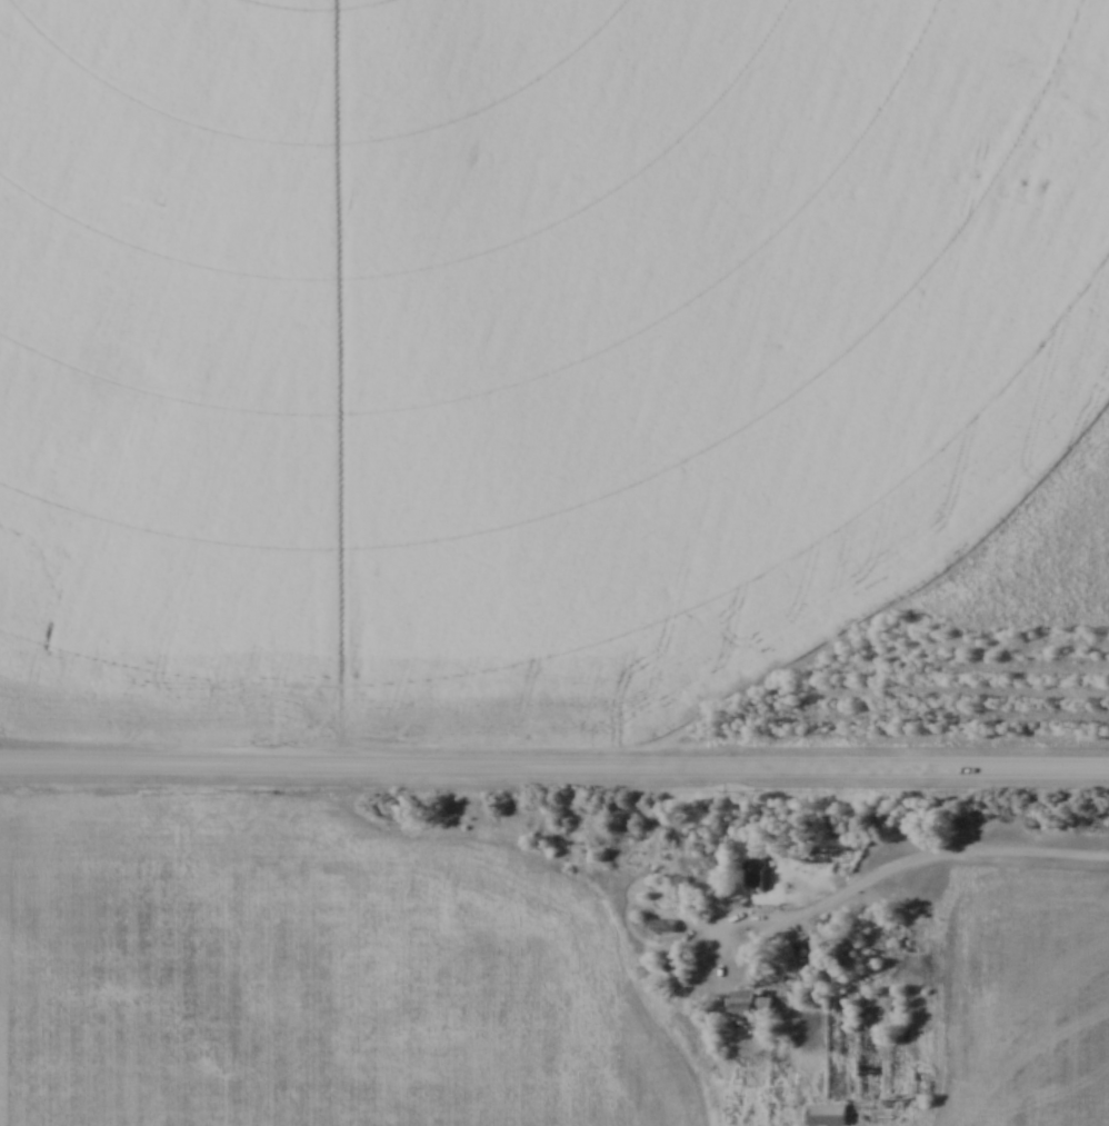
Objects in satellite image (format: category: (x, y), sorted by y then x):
road: (554, 764)
road: (910, 861)
building: (761, 871)
building: (668, 927)
building: (823, 958)
building: (756, 1006)
building: (837, 1064)

